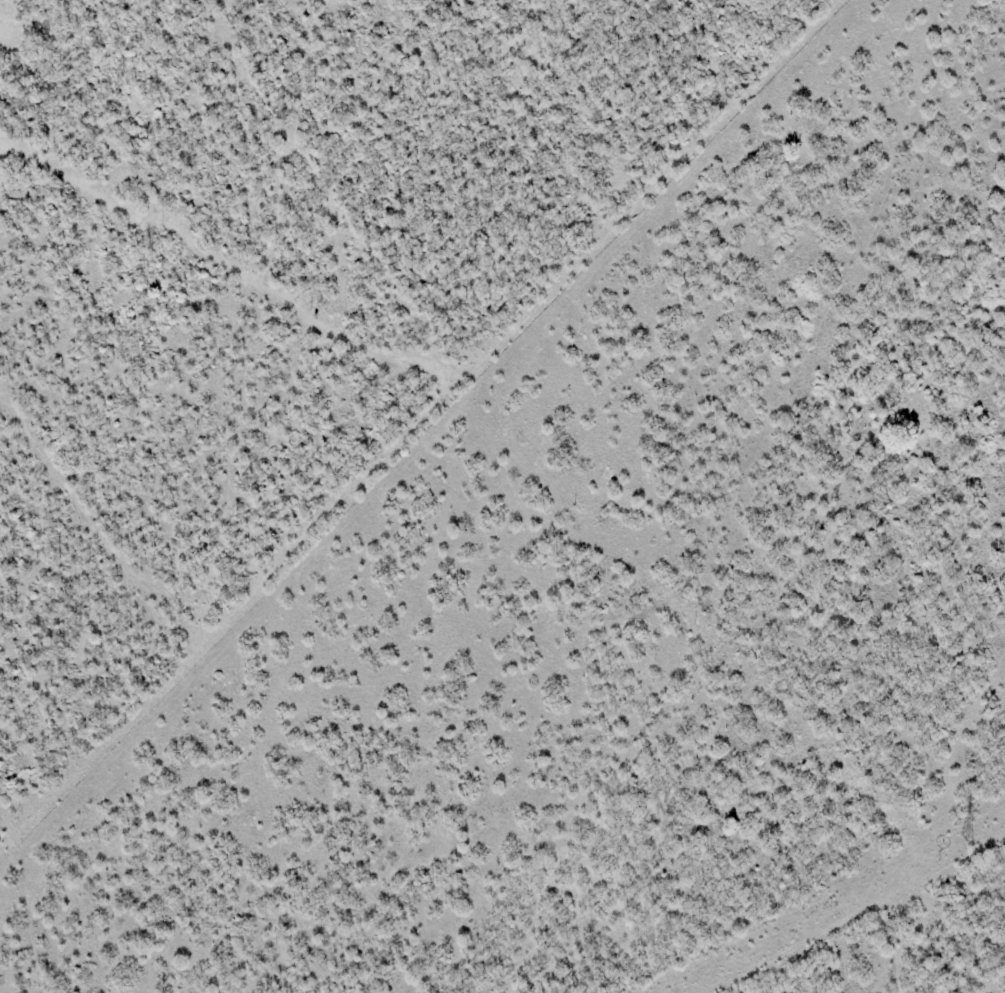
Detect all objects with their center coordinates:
power tower: (961, 839)

